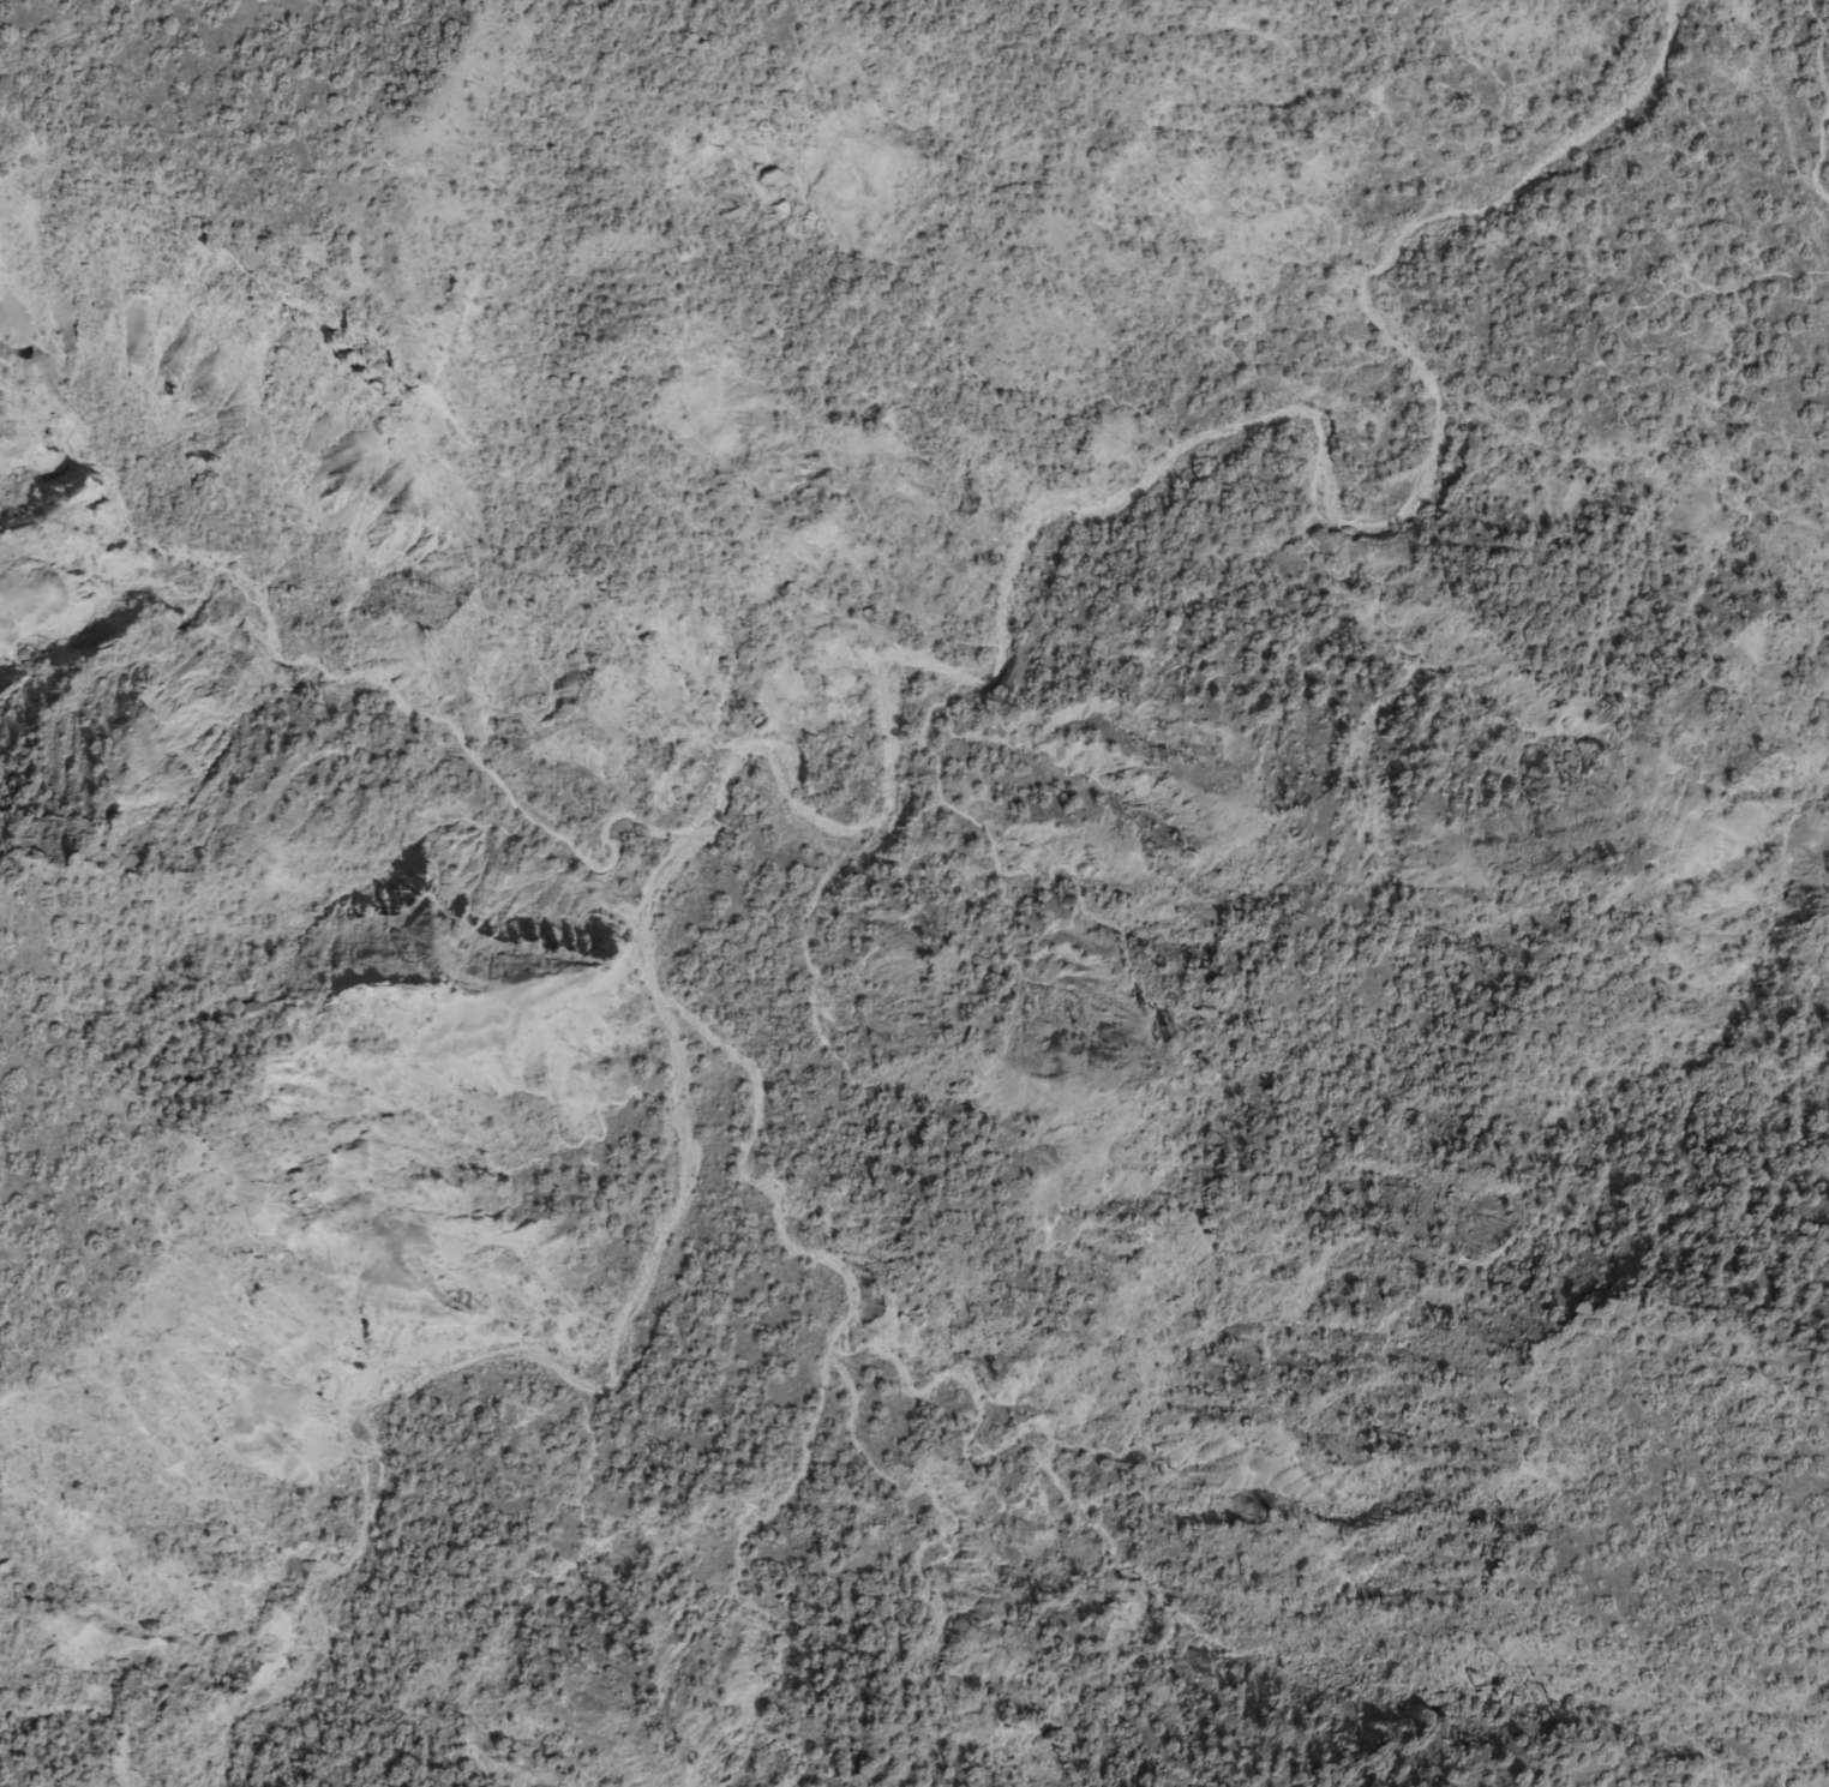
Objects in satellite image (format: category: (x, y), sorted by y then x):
road: (1825, 98)

